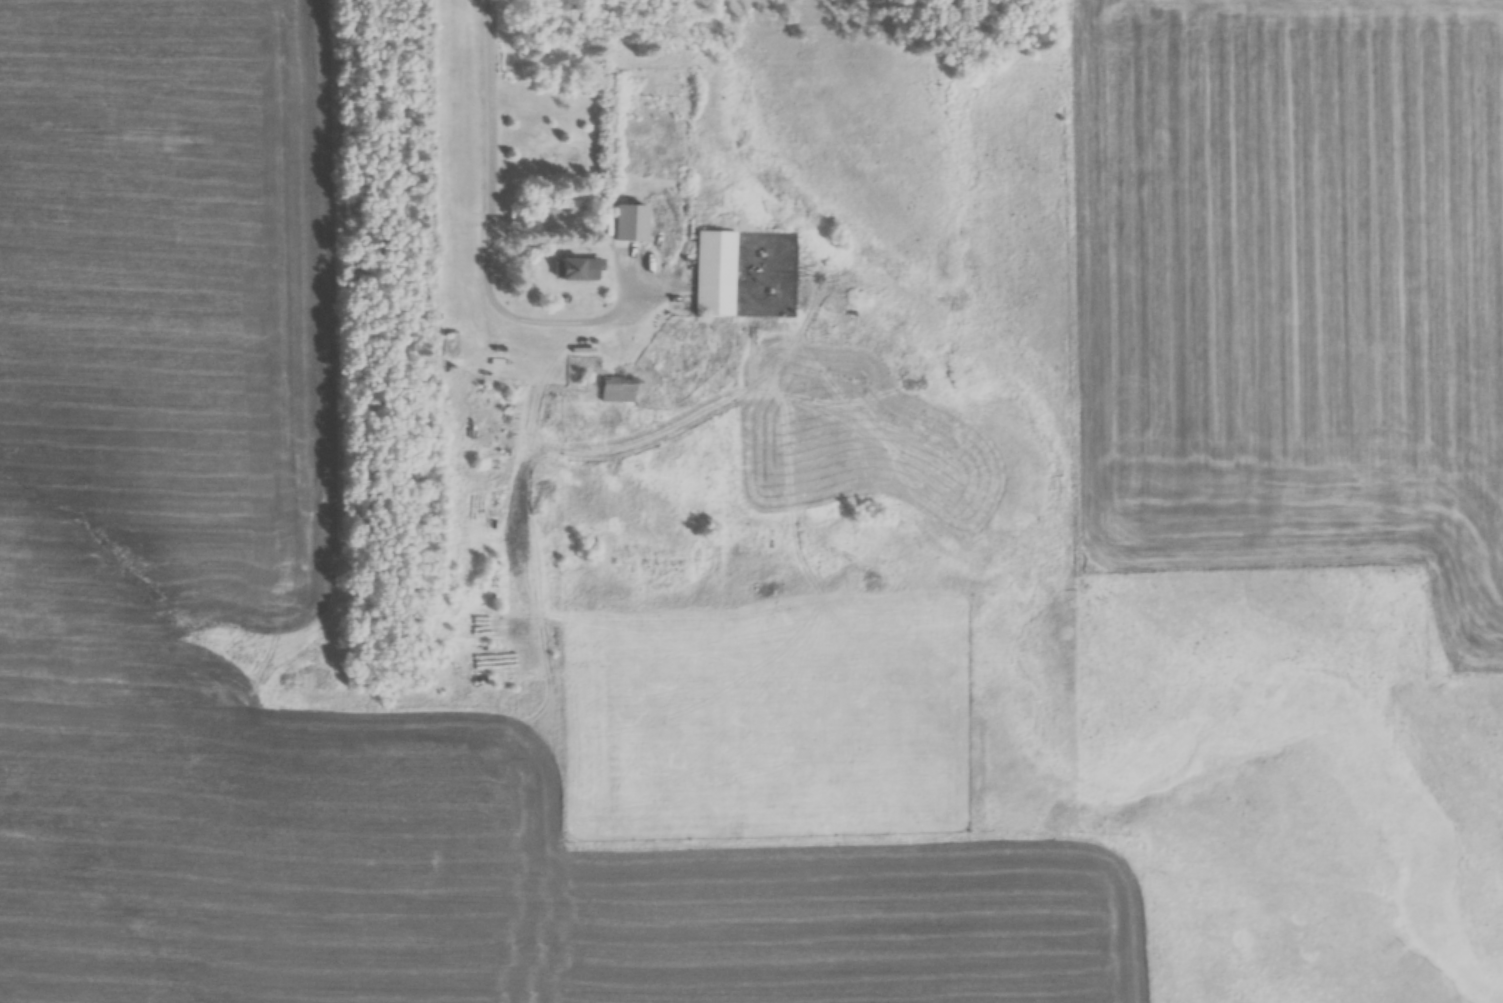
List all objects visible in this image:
building: (629, 224)
building: (577, 271)
building: (714, 274)
building: (616, 391)

